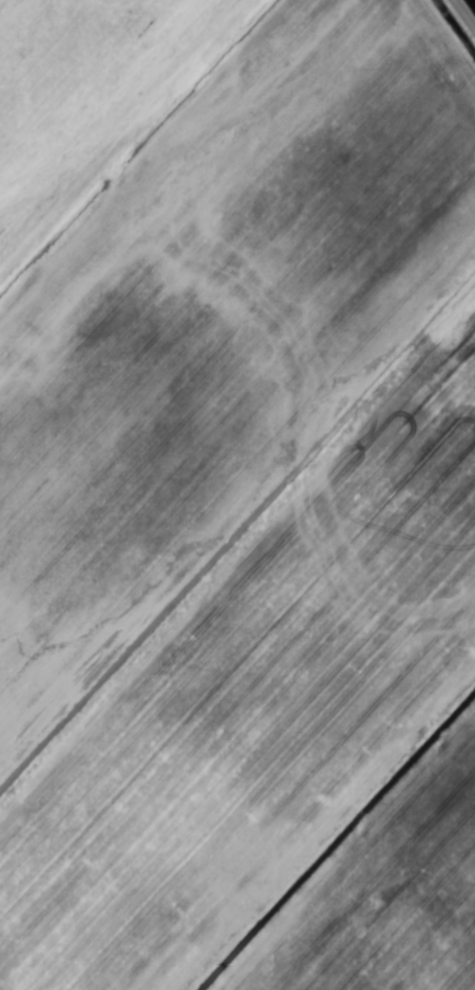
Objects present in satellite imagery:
crop: (237, 495)

